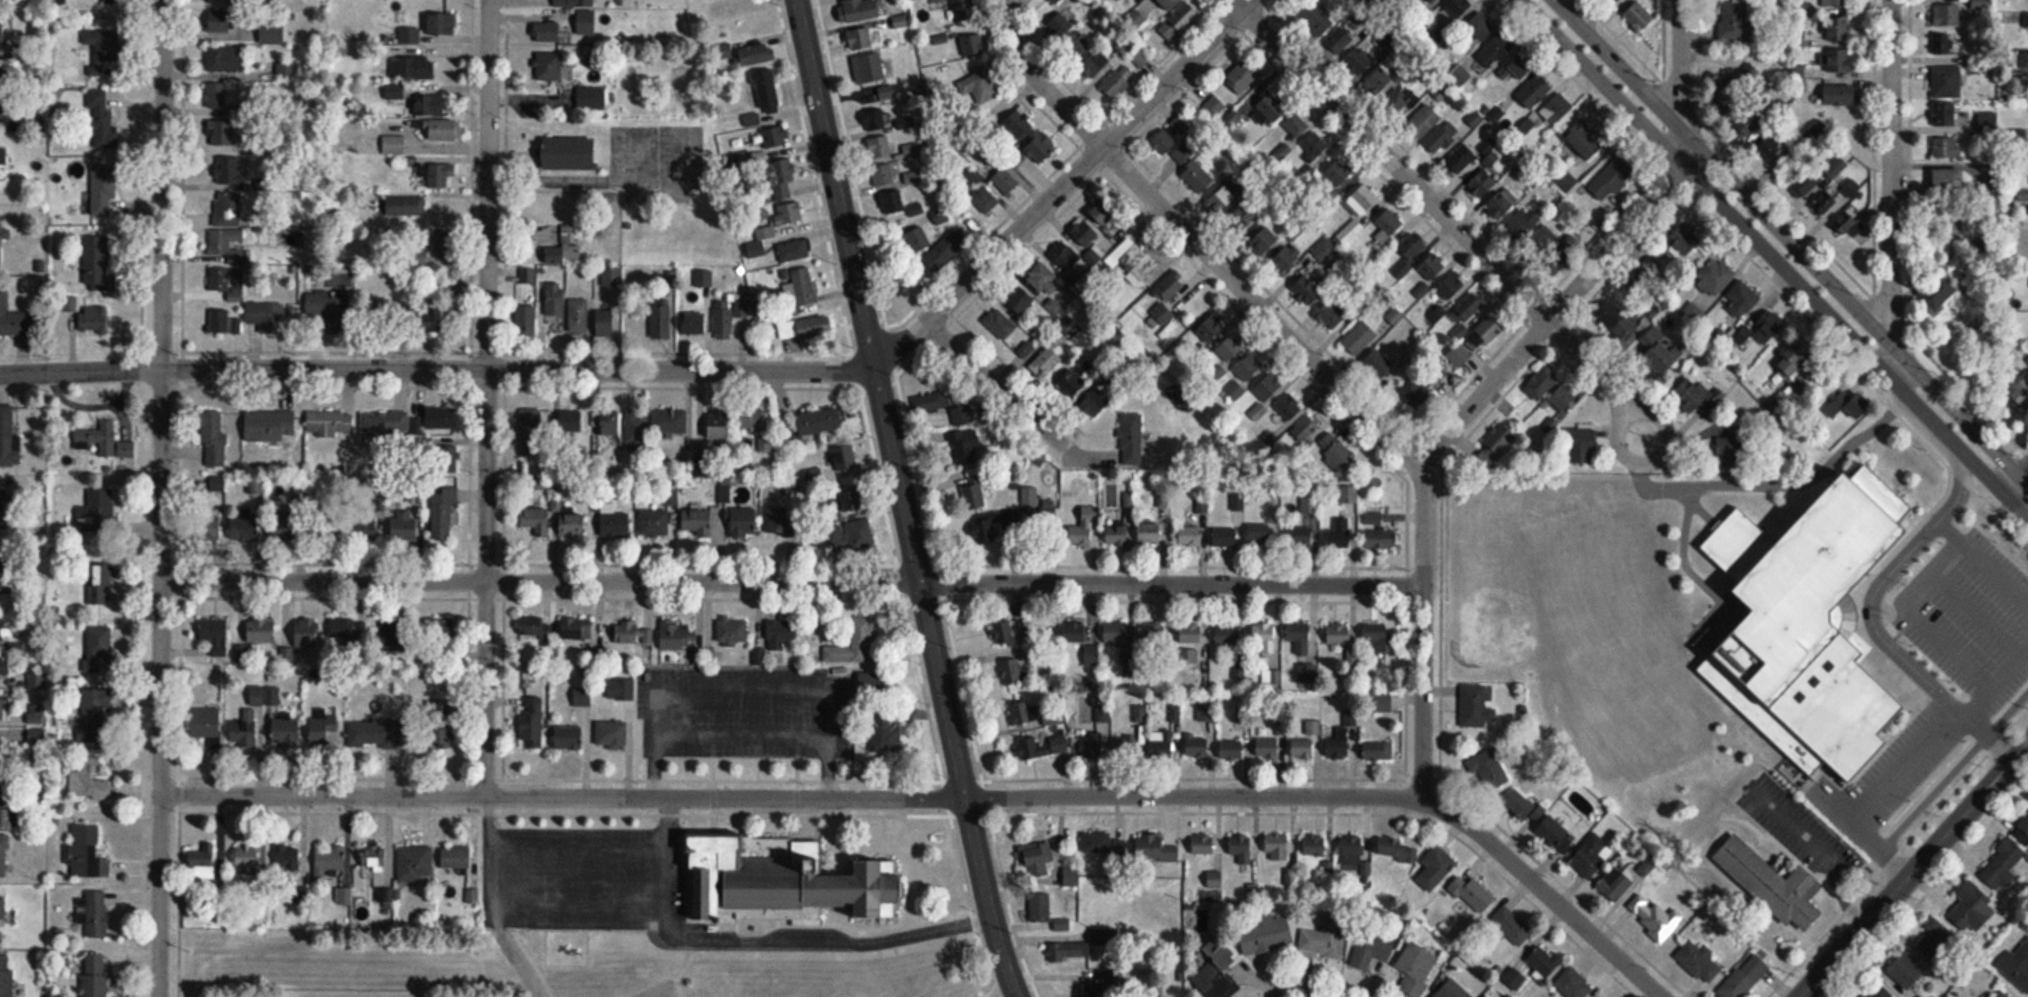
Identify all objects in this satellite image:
building: (1609, 0)
building: (1431, 1)
building: (224, 2)
building: (573, 3)
building: (1836, 3)
building: (1169, 4)
building: (861, 10)
building: (964, 10)
building: (1454, 11)
building: (1947, 15)
building: (1638, 16)
building: (1315, 17)
building: (1136, 19)
building: (220, 20)
building: (1181, 20)
building: (902, 21)
building: (1734, 22)
building: (442, 24)
building: (1060, 26)
building: (1480, 27)
building: (1838, 29)
building: (547, 33)
building: (2, 36)
building: (1342, 38)
building: (859, 39)
building: (971, 45)
building: (1126, 45)
building: (1945, 48)
building: (723, 51)
building: (104, 53)
building: (757, 55)
building: (1087, 55)
building: (224, 59)
building: (1139, 59)
building: (2024, 60)
building: (1840, 61)
building: (1359, 63)
road: (1679, 63)
building: (1519, 66)
building: (548, 67)
building: (420, 68)
building: (868, 69)
building: (1246, 71)
building: (1118, 80)
building: (1741, 80)
building: (1380, 81)
building: (1947, 81)
building: (978, 86)
building: (4, 92)
building: (396, 92)
building: (886, 92)
building: (1535, 92)
building: (1841, 95)
building: (217, 97)
building: (764, 97)
building: (591, 98)
building: (1398, 101)
building: (439, 105)
building: (1214, 106)
building: (1272, 107)
building: (1558, 113)
building: (1945, 114)
building: (100, 119)
building: (874, 120)
building: (1750, 120)
building: (1021, 121)
building: (1423, 121)
building: (1988, 123)
building: (1295, 127)
building: (1817, 129)
building: (445, 130)
building: (221, 133)
building: (772, 138)
building: (1443, 139)
building: (1174, 141)
building: (393, 145)
building: (1585, 145)
building: (1774, 145)
building: (880, 148)
building: (1040, 148)
building: (1314, 148)
building: (1946, 148)
building: (1283, 152)
building: (569, 154)
building: (1462, 159)
road: (1392, 160)
building: (1835, 167)
road: (1889, 171)
building: (231, 173)
building: (1339, 174)
building: (436, 175)
building: (884, 176)
building: (1196, 177)
building: (779, 178)
building: (1610, 180)
building: (1950, 180)
building: (1006, 181)
building: (1482, 184)
building: (1806, 184)
building: (103, 191)
building: (983, 195)
building: (2023, 195)
building: (1220, 201)
building: (892, 203)
building: (1825, 203)
building: (1502, 204)
building: (406, 206)
building: (229, 210)
building: (916, 210)
building: (1358, 211)
building: (1105, 213)
building: (789, 214)
building: (941, 217)
building: (1845, 224)
building: (1388, 226)
building: (1527, 231)
building: (1081, 234)
building: (4, 236)
road: (1194, 240)
building: (918, 241)
building: (1683, 241)
building: (761, 242)
road: (1791, 242)
building: (226, 244)
building: (566, 247)
building: (1413, 247)
building: (946, 251)
building: (1324, 251)
building: (1276, 252)
building: (794, 253)
building: (1565, 253)
building: (104, 254)
building: (1064, 258)
road: (1774, 259)
building: (1135, 260)
building: (1649, 265)
building: (1441, 277)
building: (1714, 277)
building: (704, 279)
building: (1043, 279)
building: (225, 280)
building: (612, 288)
building: (804, 291)
building: (1308, 291)
building: (1422, 291)
building: (1167, 296)
building: (1939, 296)
building: (555, 301)
building: (1021, 301)
building: (1742, 301)
road: (1565, 304)
building: (323, 305)
building: (1470, 308)
building: (380, 312)
building: (1606, 312)
building: (265, 314)
building: (1333, 315)
building: (578, 317)
building: (730, 317)
building: (15, 320)
building: (93, 320)
building: (428, 320)
building: (525, 322)
building: (660, 322)
building: (219, 323)
building: (605, 324)
building: (693, 324)
building: (999, 325)
building: (1763, 327)
building: (1213, 328)
building: (806, 329)
building: (1491, 329)
building: (1624, 332)
building: (1359, 339)
building: (1231, 350)
building: (1656, 354)
building: (1460, 357)
building: (1047, 361)
building: (2027, 362)
building: (1378, 366)
road: (1591, 367)
road: (701, 370)
building: (1246, 376)
building: (1542, 383)
road: (998, 387)
building: (1269, 389)
building: (1414, 393)
building: (2021, 393)
road: (485, 394)
building: (1690, 396)
building: (1088, 399)
building: (930, 403)
building: (1290, 408)
building: (1558, 408)
building: (749, 417)
building: (439, 418)
building: (669, 421)
building: (821, 421)
road: (1621, 421)
building: (571, 422)
building: (609, 423)
building: (329, 424)
building: (384, 424)
building: (718, 424)
building: (270, 426)
building: (1306, 431)
building: (637, 432)
building: (531, 433)
building: (7, 435)
building: (98, 438)
building: (1131, 438)
building: (213, 439)
building: (1501, 439)
building: (967, 446)
building: (1583, 446)
building: (845, 458)
building: (1338, 458)
building: (449, 459)
road: (2022, 469)
building: (218, 485)
building: (975, 495)
road: (161, 498)
road: (881, 499)
road: (901, 500)
building: (846, 502)
building: (9, 508)
building: (97, 509)
building: (444, 509)
building: (1025, 511)
building: (1048, 514)
building: (1385, 518)
building: (536, 519)
building: (697, 520)
building: (614, 522)
building: (572, 523)
building: (654, 523)
building: (743, 523)
building: (781, 525)
building: (1305, 525)
building: (211, 526)
building: (404, 527)
building: (246, 528)
building: (366, 528)
building: (986, 528)
building: (1085, 528)
building: (288, 530)
building: (1150, 533)
building: (1339, 534)
building: (835, 535)
building: (860, 535)
building: (1117, 535)
building: (1260, 535)
building: (1190, 536)
building: (1227, 537)
building: (1380, 538)
road: (1982, 563)
building: (5, 574)
road: (791, 581)
building: (101, 584)
road: (1877, 585)
building: (1805, 619)
building: (1, 628)
building: (346, 628)
building: (535, 628)
building: (576, 629)
road: (1421, 630)
building: (260, 631)
building: (732, 632)
building: (306, 633)
building: (632, 633)
building: (1002, 633)
building: (1074, 633)
building: (1116, 633)
building: (1228, 633)
building: (1263, 633)
building: (781, 634)
building: (1190, 634)
building: (390, 635)
building: (1155, 635)
building: (1338, 635)
building: (215, 636)
building: (676, 637)
building: (1299, 638)
building: (1380, 638)
building: (856, 644)
building: (98, 647)
building: (5, 666)
building: (1010, 672)
building: (871, 685)
building: (582, 698)
building: (627, 700)
parking lot: (720, 702)
building: (1382, 703)
building: (1473, 706)
building: (2, 708)
building: (1023, 713)
building: (1206, 713)
building: (93, 715)
building: (252, 717)
building: (1051, 719)
building: (531, 723)
building: (207, 725)
building: (286, 732)
building: (323, 732)
building: (886, 734)
building: (611, 736)
building: (1098, 737)
building: (569, 738)
road: (1985, 739)
building: (1307, 743)
building: (1341, 744)
building: (1043, 746)
building: (1127, 748)
building: (1161, 748)
building: (1197, 748)
building: (1269, 748)
building: (2, 750)
building: (1232, 750)
building: (1378, 751)
road: (1917, 758)
road: (637, 767)
road: (693, 767)
road: (739, 768)
road: (778, 768)
road: (810, 769)
building: (1488, 769)
road: (704, 772)
building: (89, 779)
road: (947, 790)
building: (5, 803)
building: (1523, 806)
building: (2022, 831)
building: (1555, 835)
building: (1103, 844)
building: (1203, 844)
building: (1314, 845)
building: (1277, 846)
building: (1155, 848)
building: (1241, 848)
building: (1352, 850)
building: (1397, 850)
building: (86, 853)
building: (4, 856)
building: (1591, 856)
building: (456, 857)
building: (287, 858)
building: (247, 861)
building: (330, 861)
building: (1036, 861)
building: (2003, 863)
building: (202, 864)
building: (415, 864)
building: (375, 865)
building: (1436, 869)
road: (1915, 871)
parking lot: (565, 872)
building: (1214, 879)
building: (1616, 882)
building: (1771, 883)
building: (784, 887)
building: (1472, 894)
road: (479, 901)
building: (1971, 907)
building: (3, 911)
building: (92, 913)
building: (1652, 916)
building: (1062, 924)
building: (1511, 926)
road: (831, 935)
building: (1265, 936)
building: (1326, 936)
building: (1935, 940)
building: (1088, 947)
building: (1371, 951)
building: (1694, 959)
building: (1545, 960)
building: (2021, 966)
building: (1216, 969)
building: (1416, 970)
building: (1907, 971)
building: (6, 973)
building: (94, 974)
building: (1744, 978)
building: (1574, 984)
building: (1105, 988)
building: (1452, 990)
parking lot: (663, 991)
building: (1877, 991)
building: (2001, 994)
road: (1014, 995)

